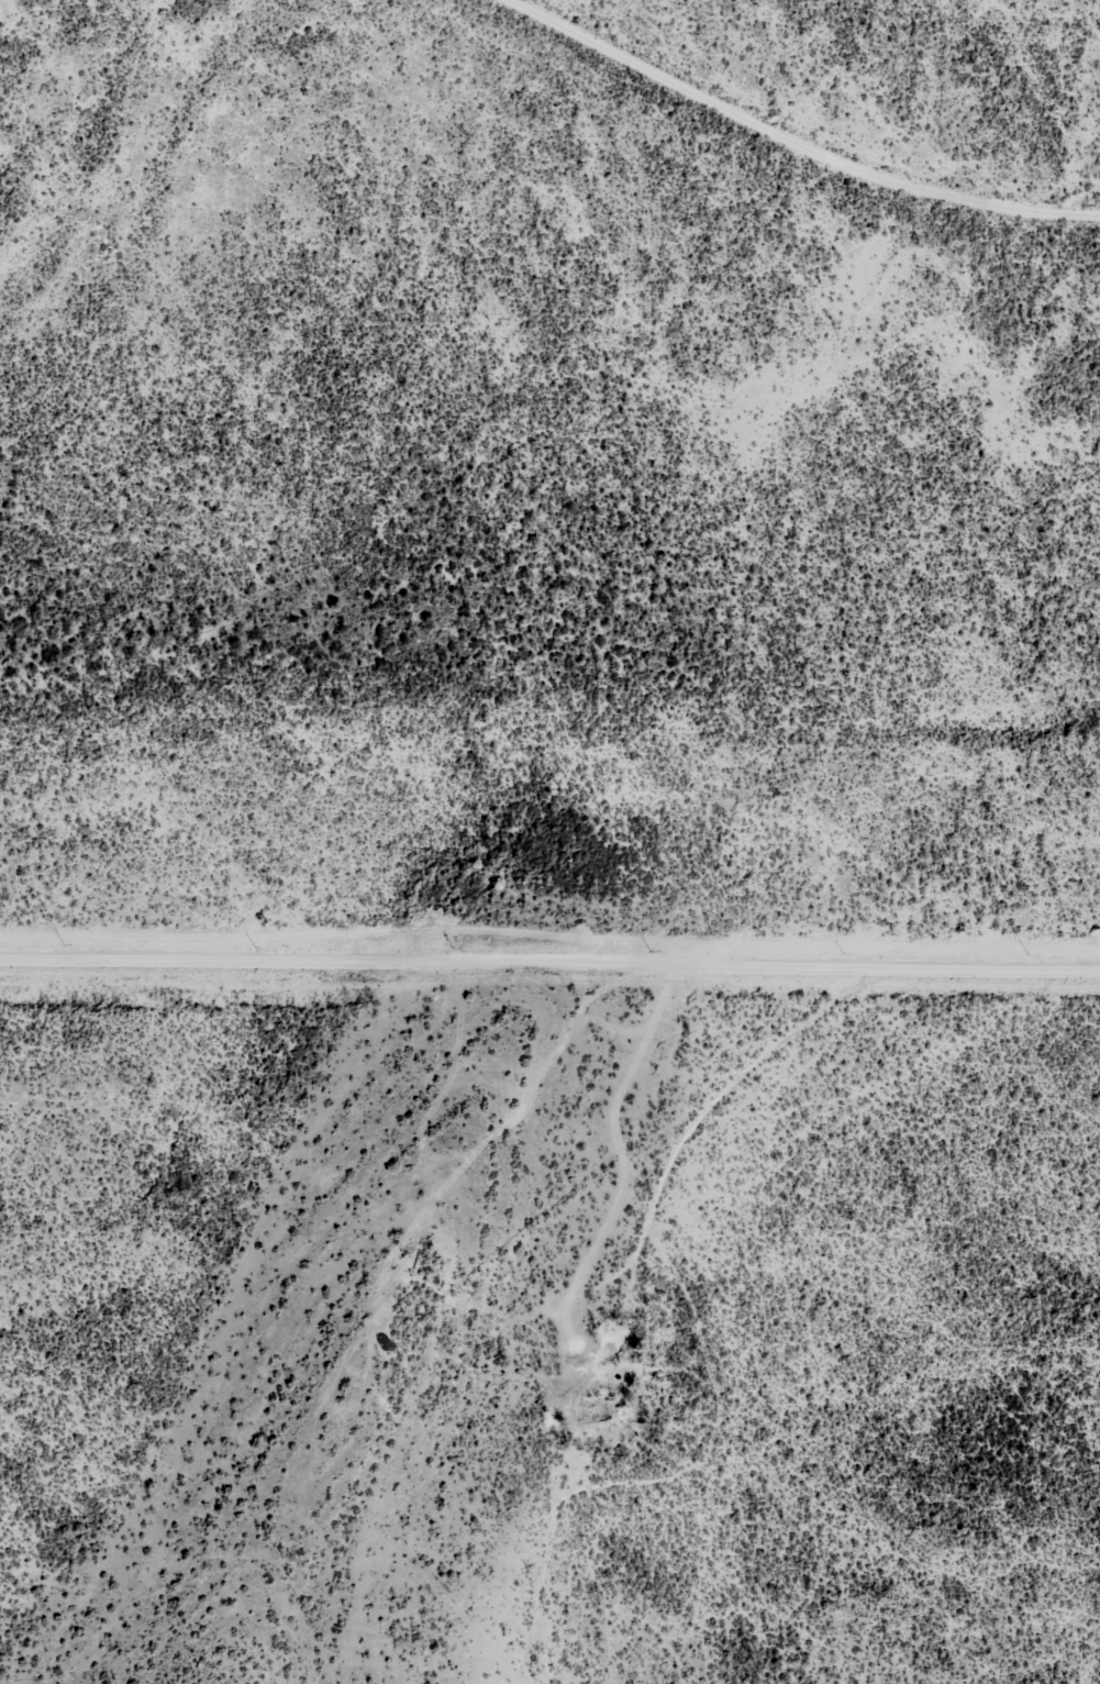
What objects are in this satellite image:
road: (786, 146)
road: (551, 934)

